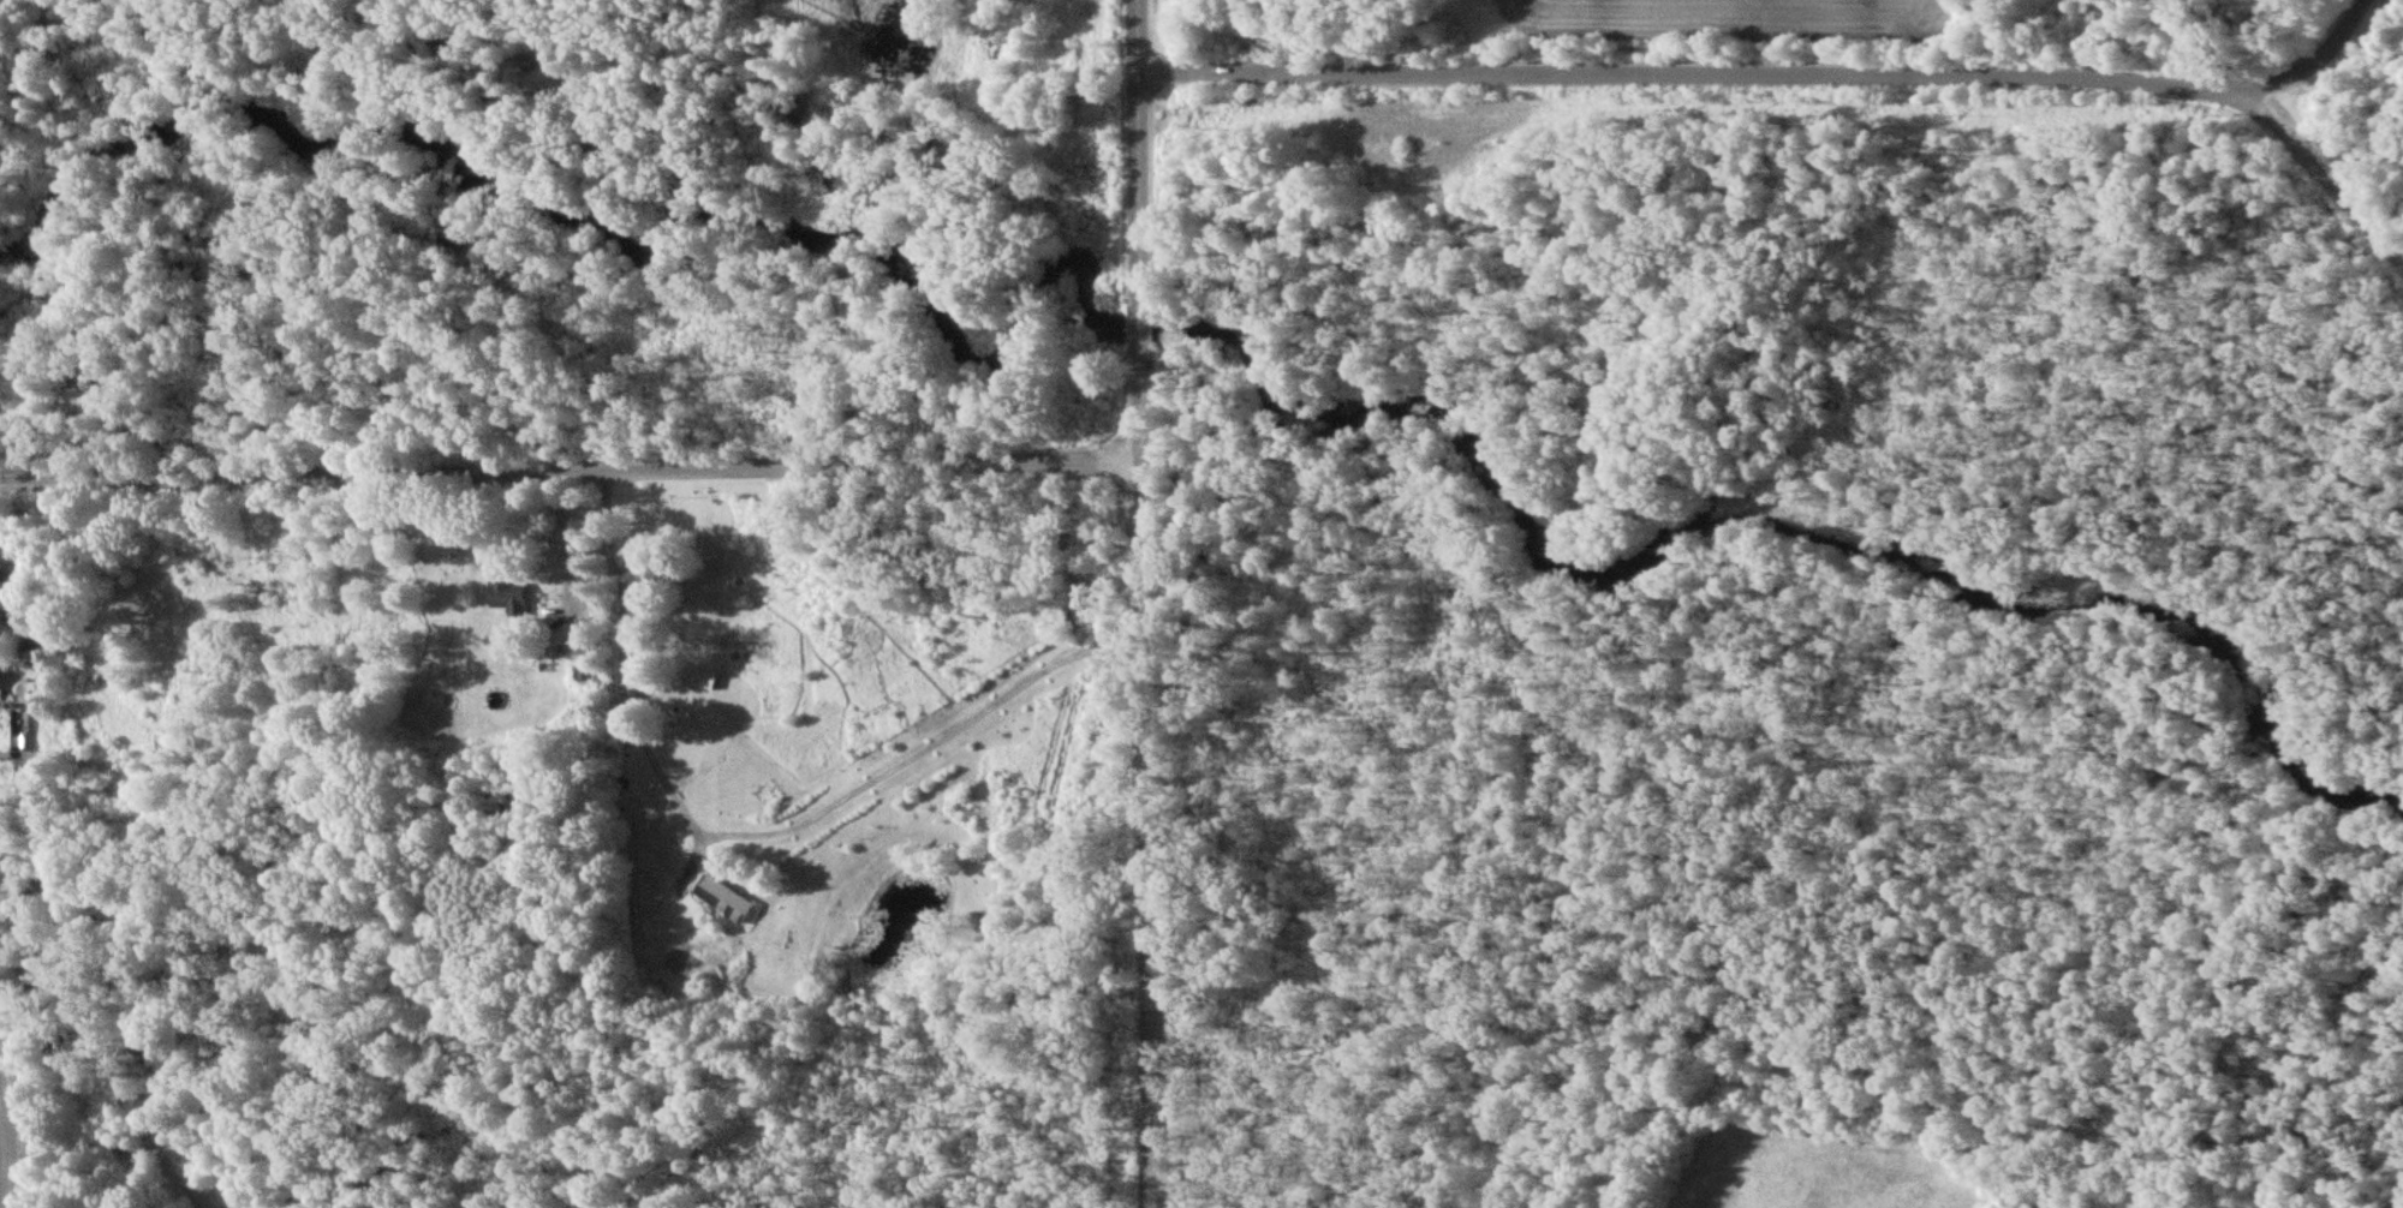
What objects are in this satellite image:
road: (1117, 64)
road: (2319, 67)
road: (1811, 73)
road: (571, 471)
road: (565, 544)
building: (642, 575)
building: (512, 596)
building: (14, 599)
road: (1143, 604)
road: (755, 829)
building: (728, 898)

